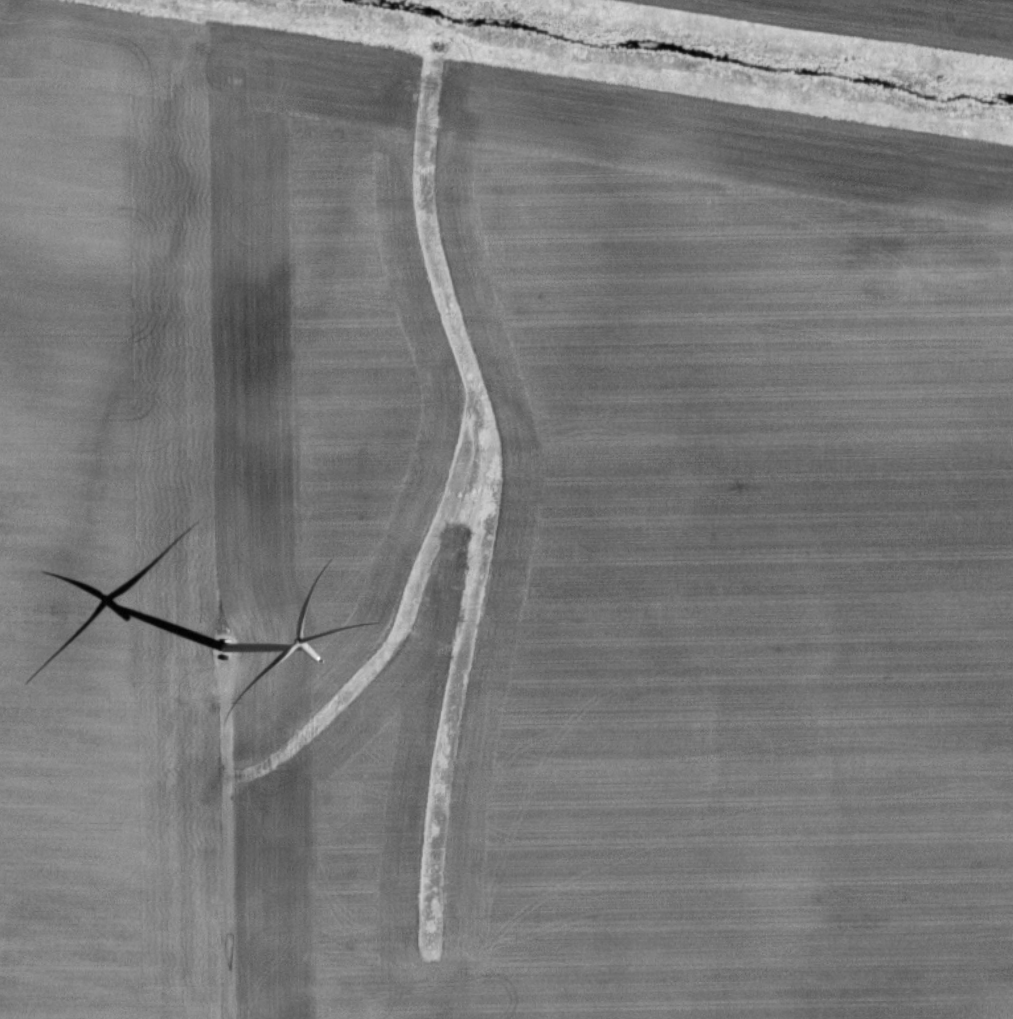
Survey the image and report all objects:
wind turbine: (225, 644)
road: (229, 841)

